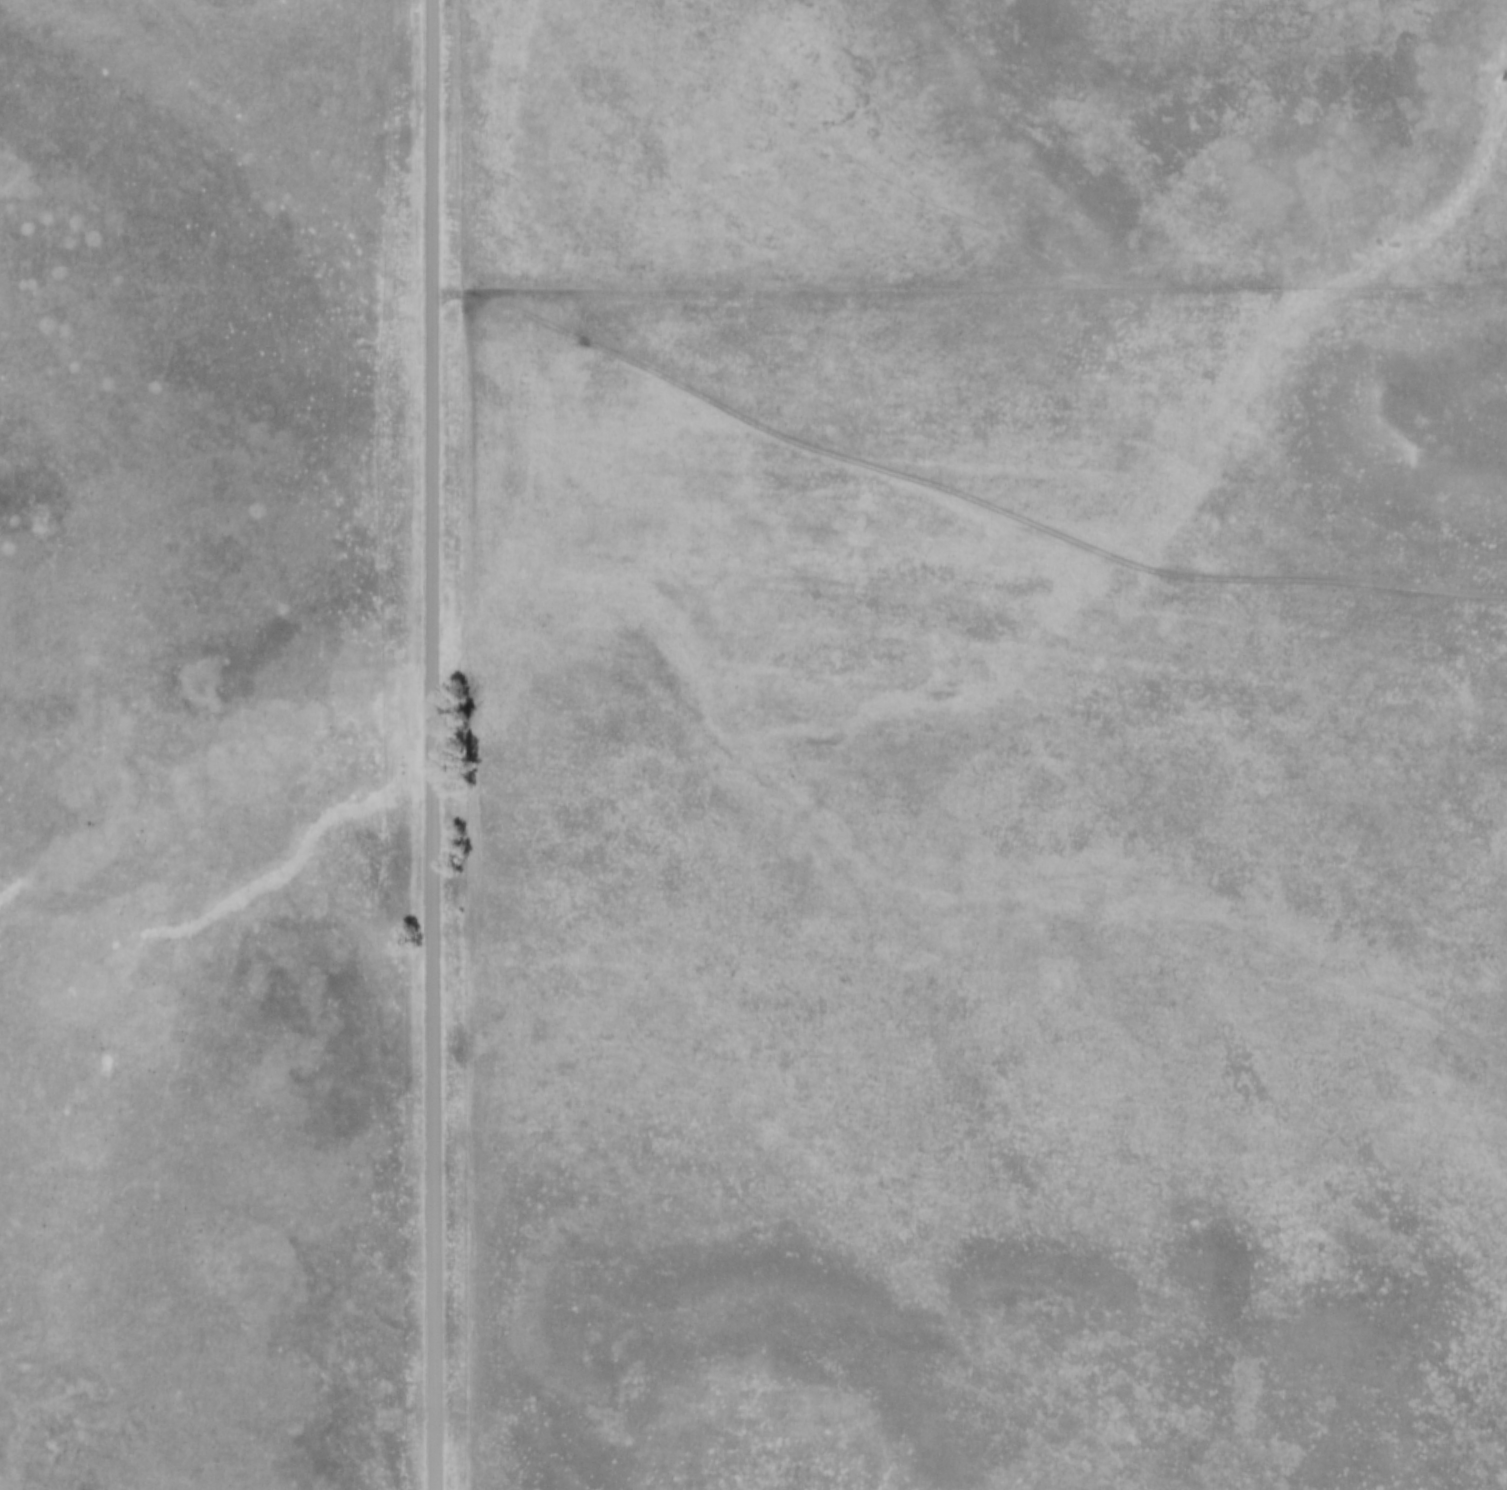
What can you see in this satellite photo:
road: (433, 745)

